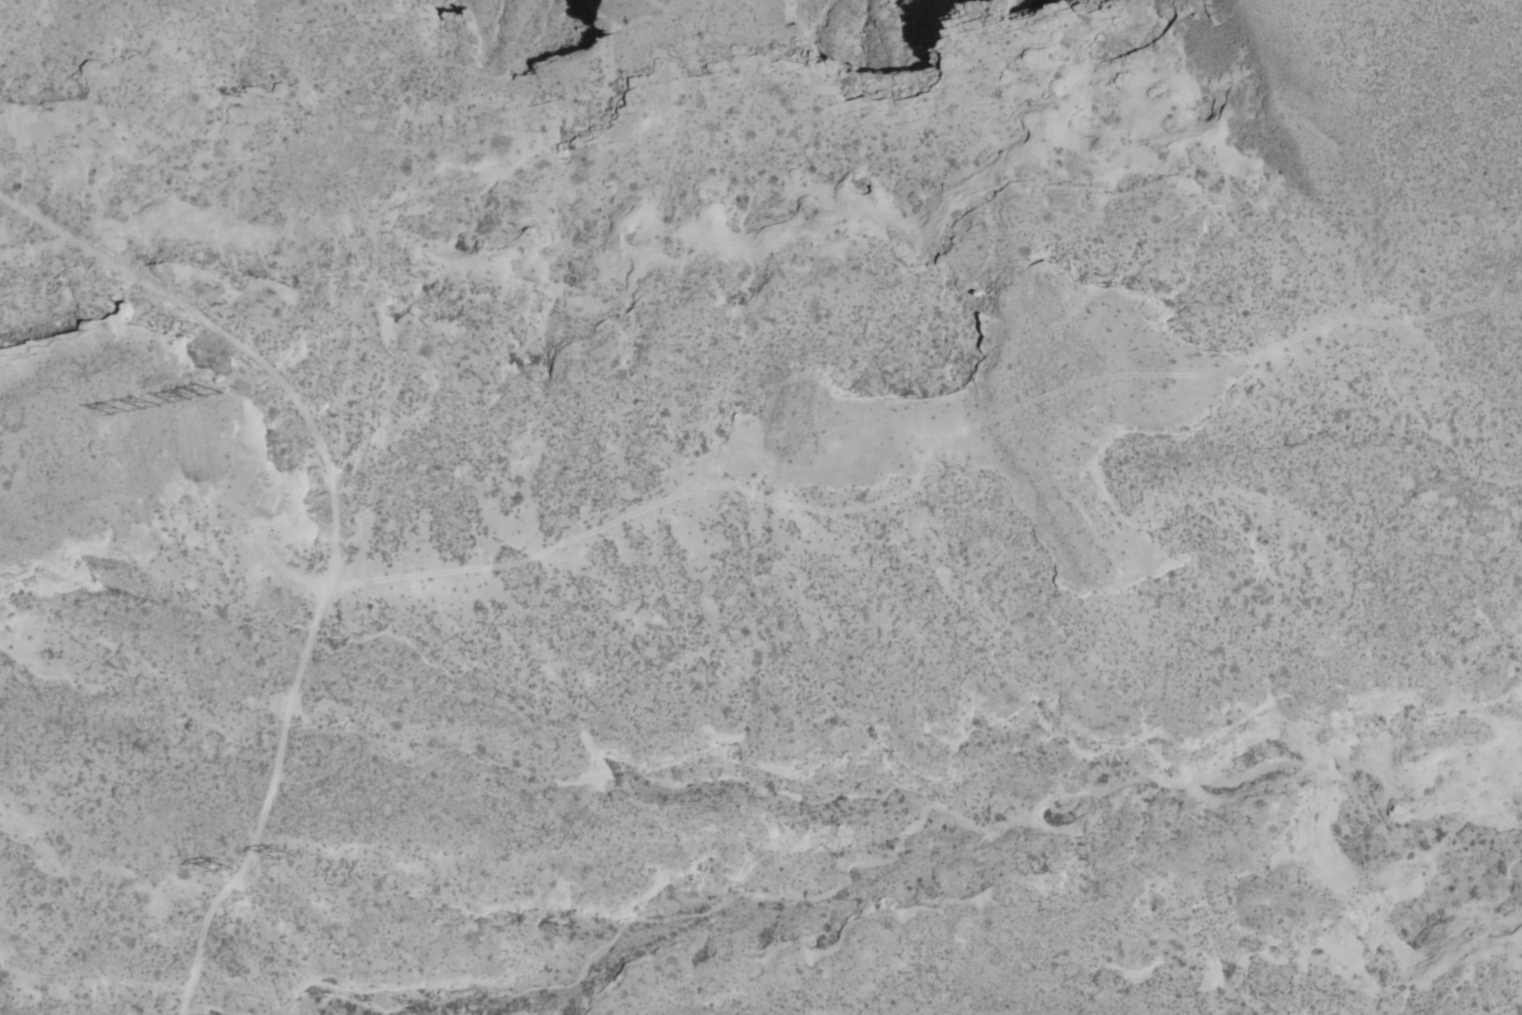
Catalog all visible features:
power tower: (203, 394)
power tower: (134, 407)
power tower: (284, 856)
power tower: (218, 869)

